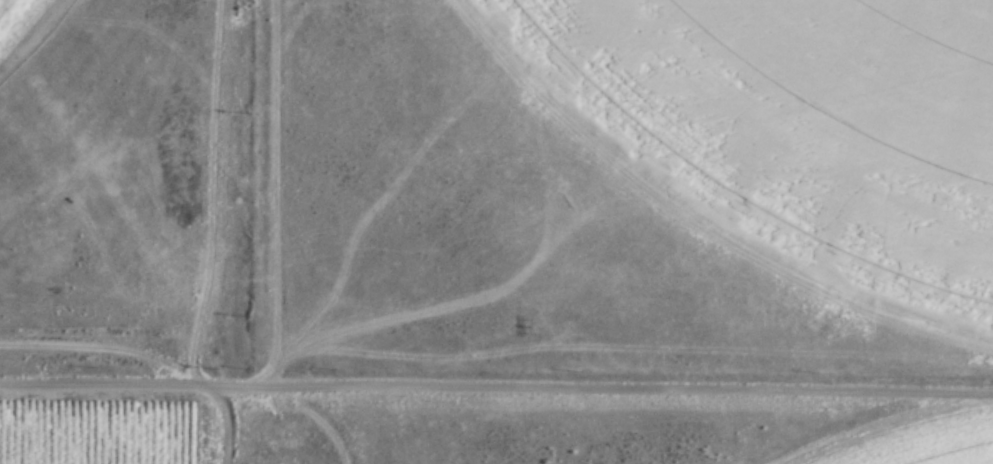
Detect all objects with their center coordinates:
crop: (45, 55)
crop: (816, 125)

